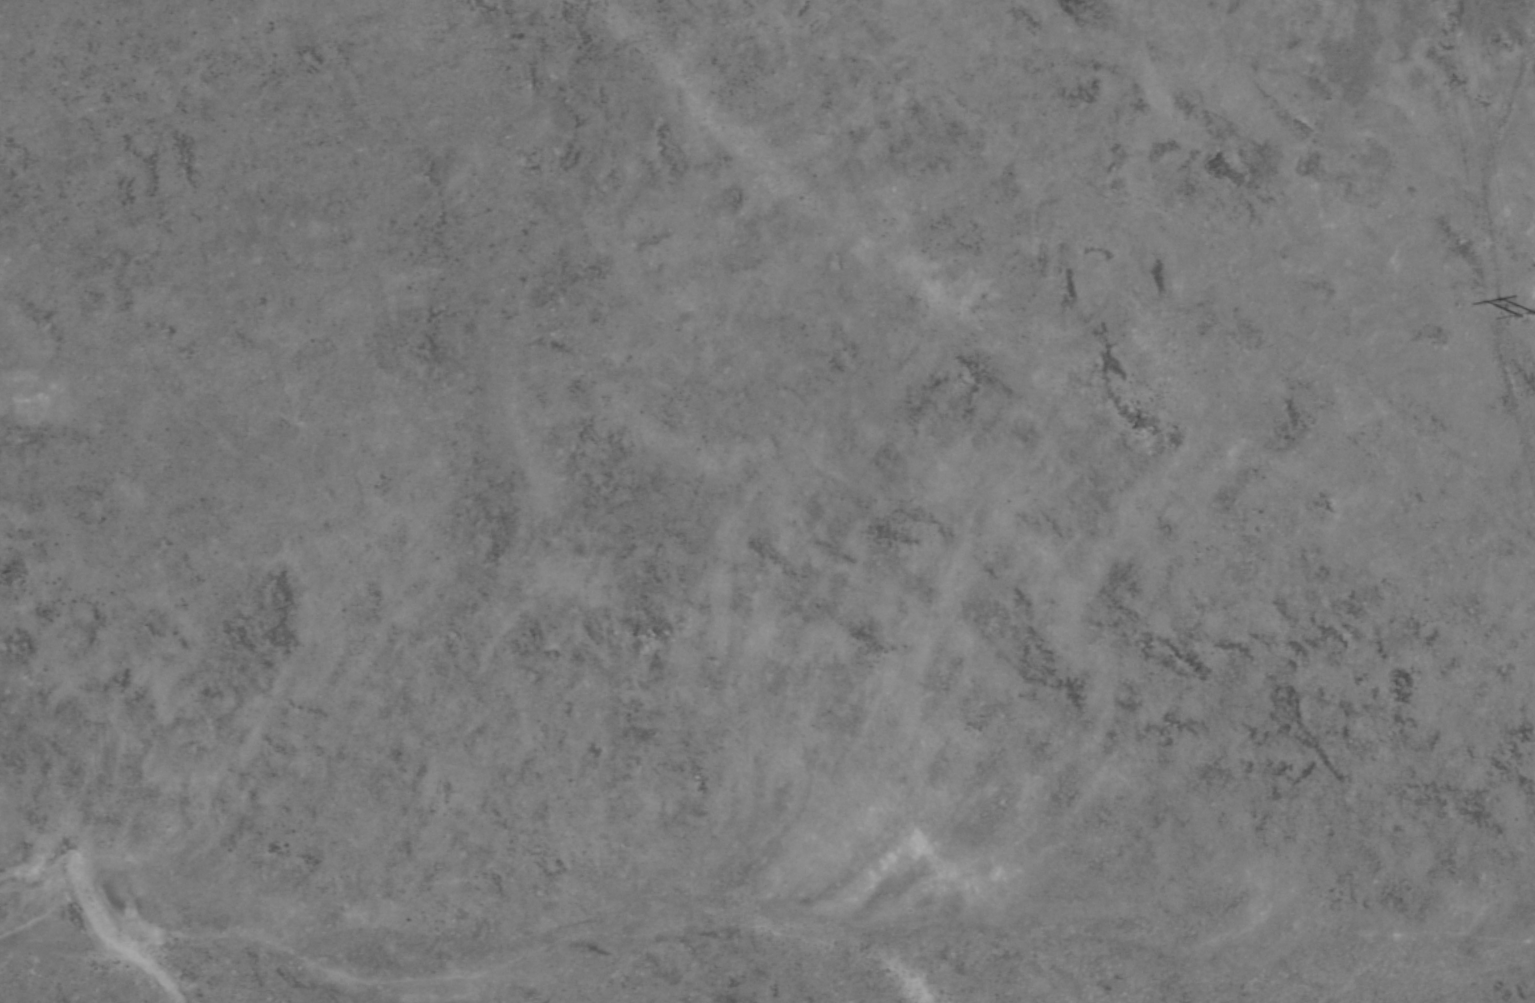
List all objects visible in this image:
power tower: (1526, 315)

